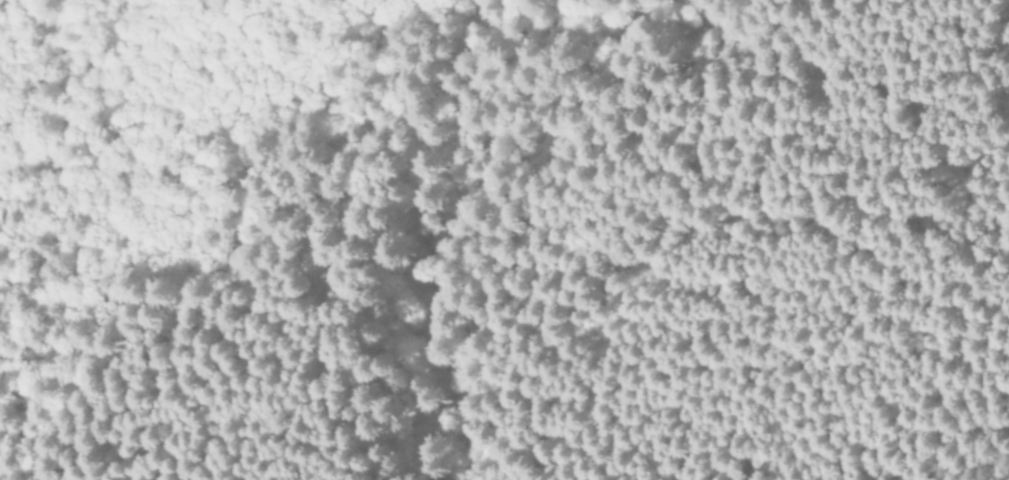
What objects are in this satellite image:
road: (844, 107)

